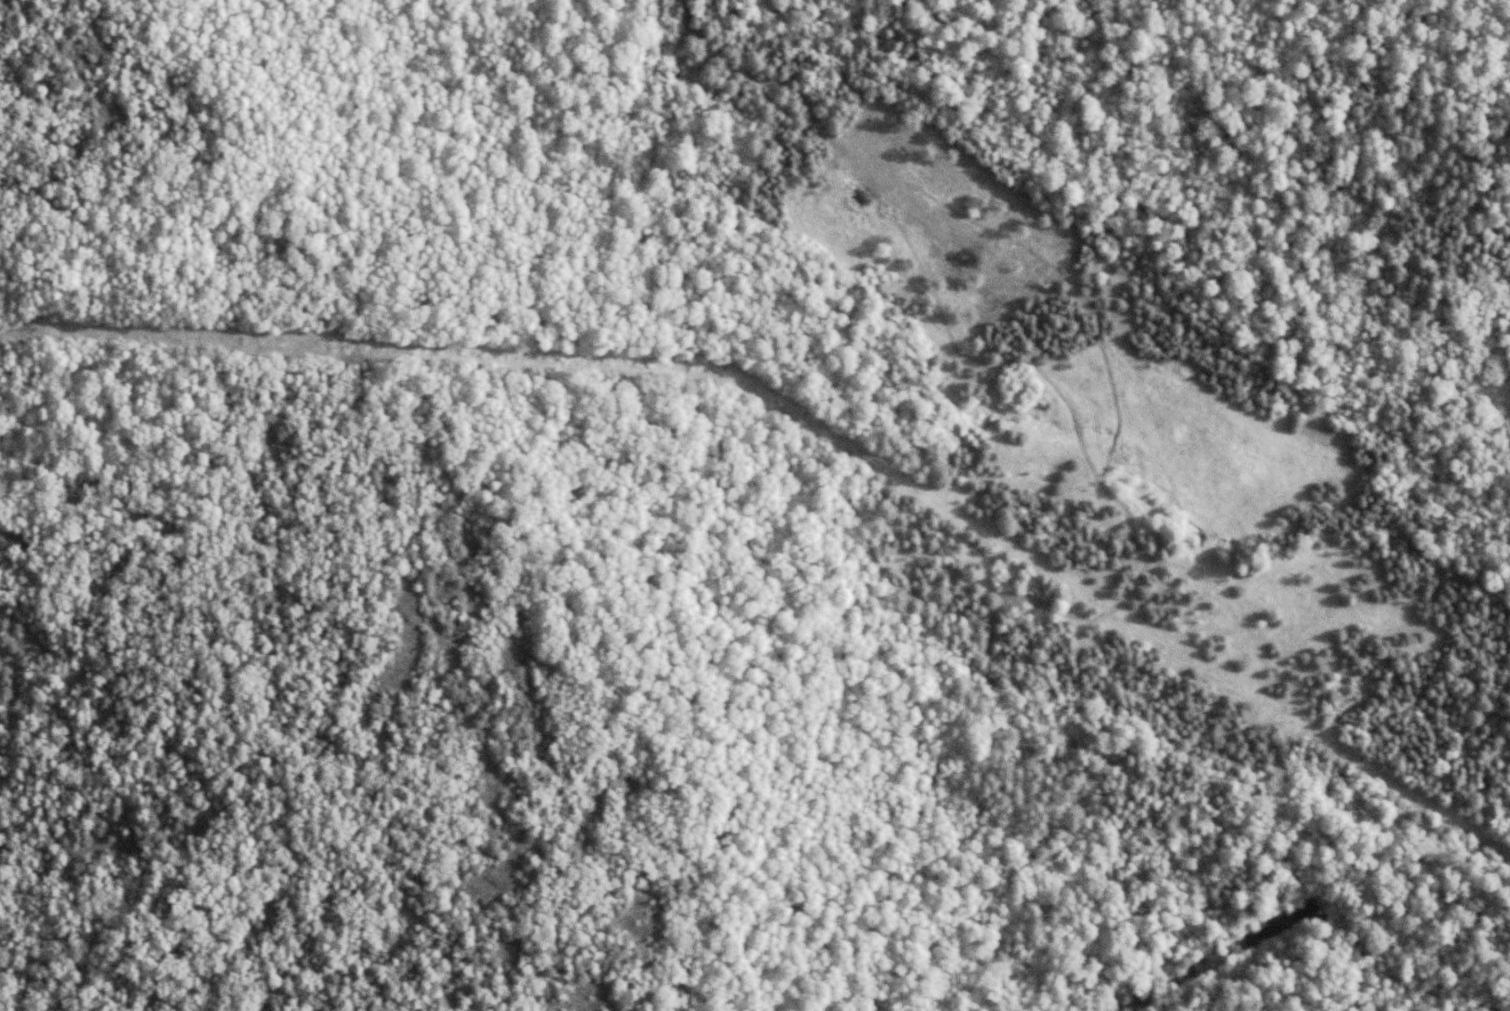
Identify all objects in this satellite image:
road: (1338, 1010)

